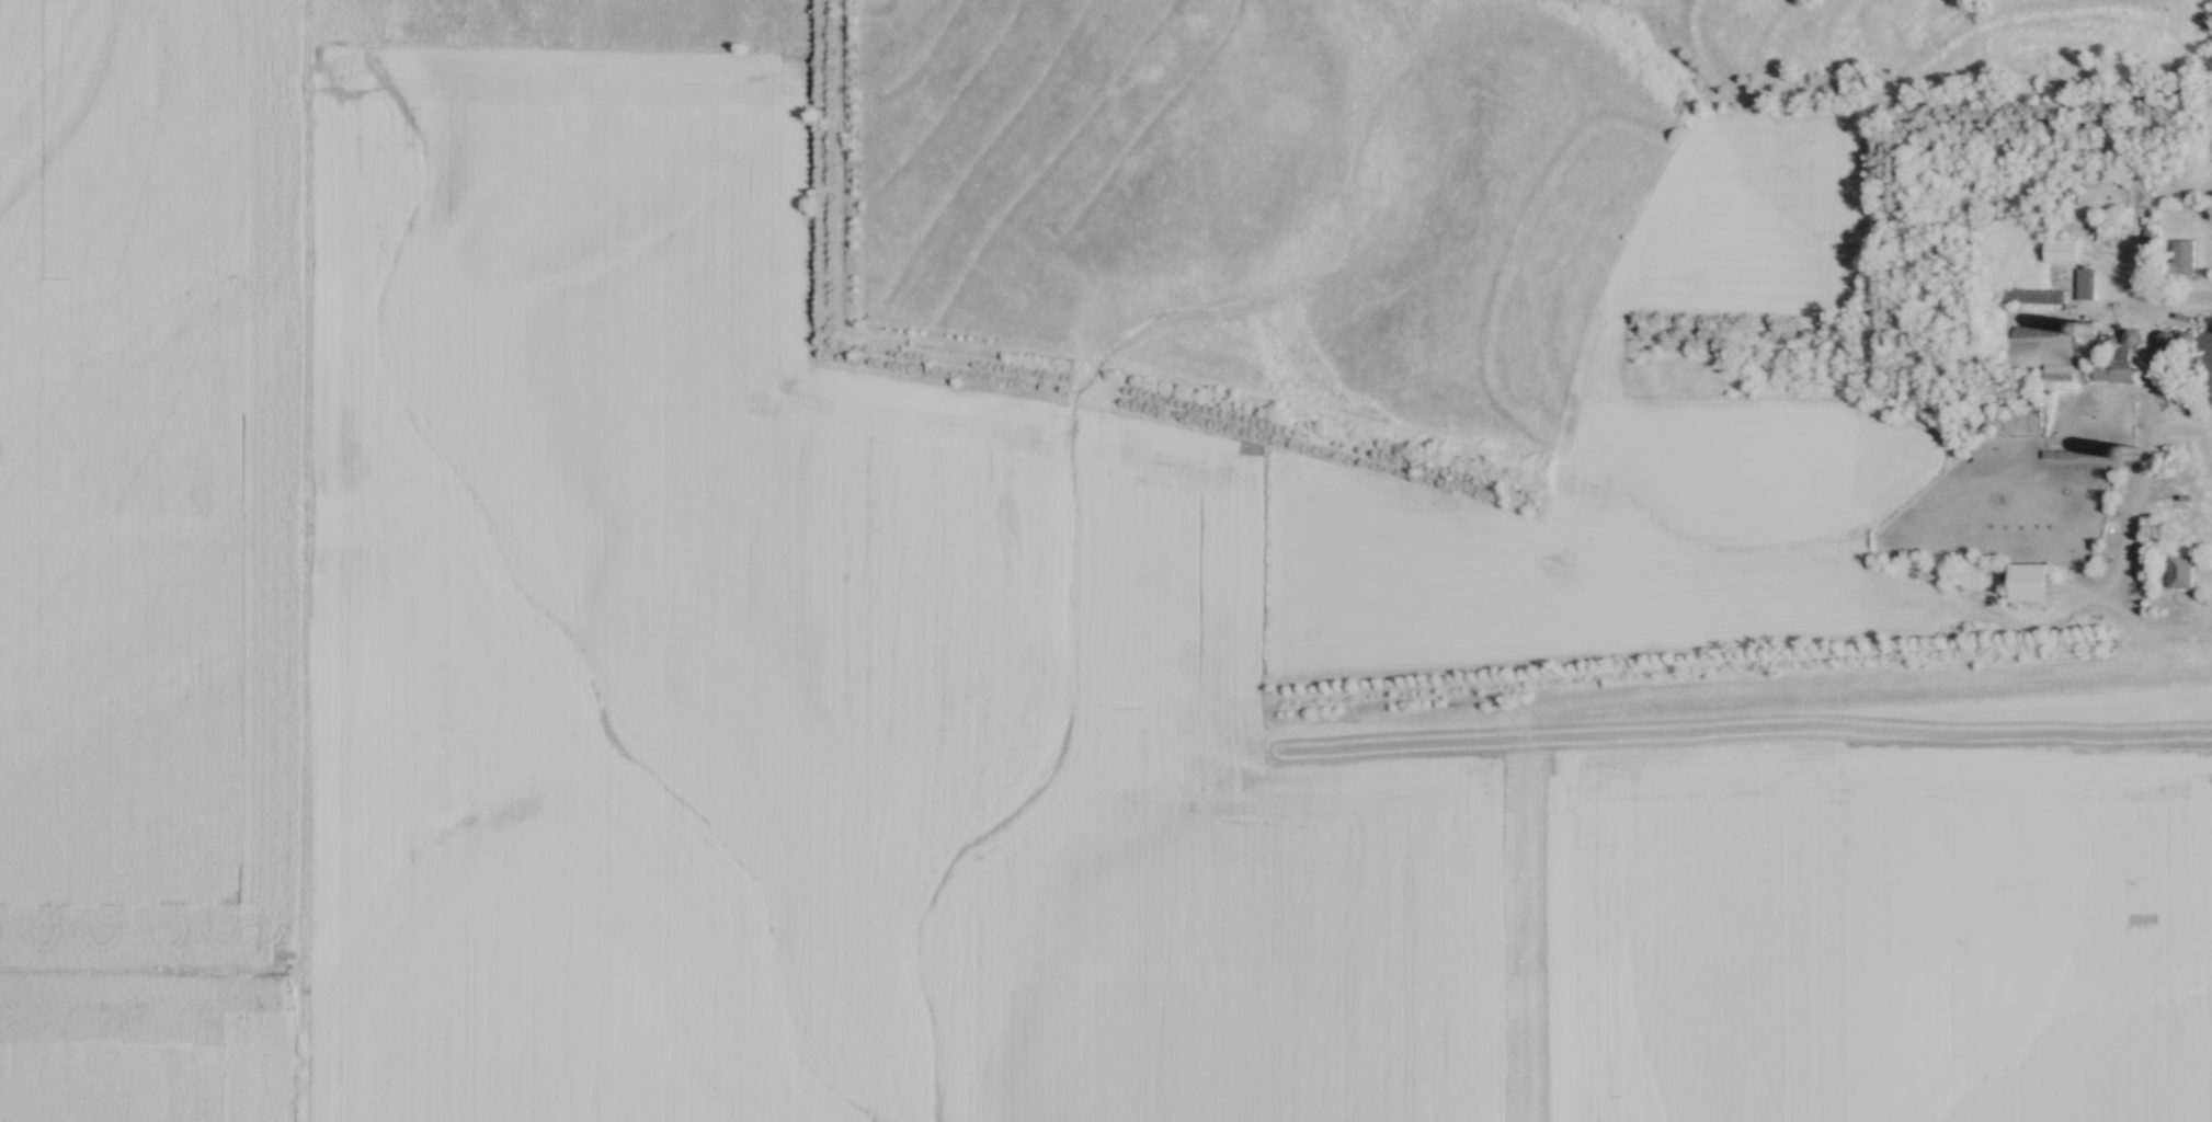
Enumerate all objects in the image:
building: (2111, 224)
building: (2151, 237)
building: (2061, 249)
building: (2181, 257)
building: (2084, 283)
building: (2031, 295)
building: (2041, 330)
building: (2194, 358)
building: (2114, 366)
building: (2057, 371)
building: (2018, 375)
road: (2152, 379)
building: (2028, 394)
building: (2078, 453)
building: (2180, 562)
building: (2029, 582)

